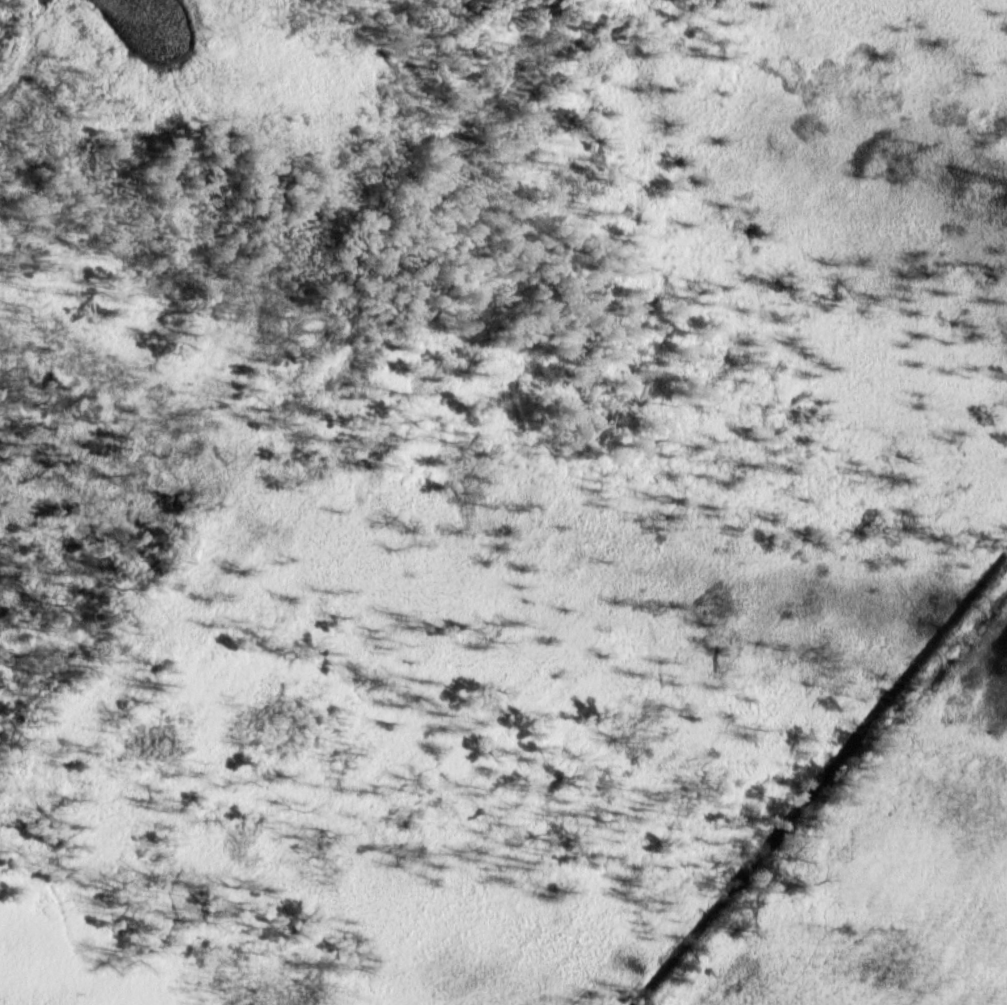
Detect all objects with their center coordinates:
road: (28, 30)
road: (354, 489)
road: (233, 545)

